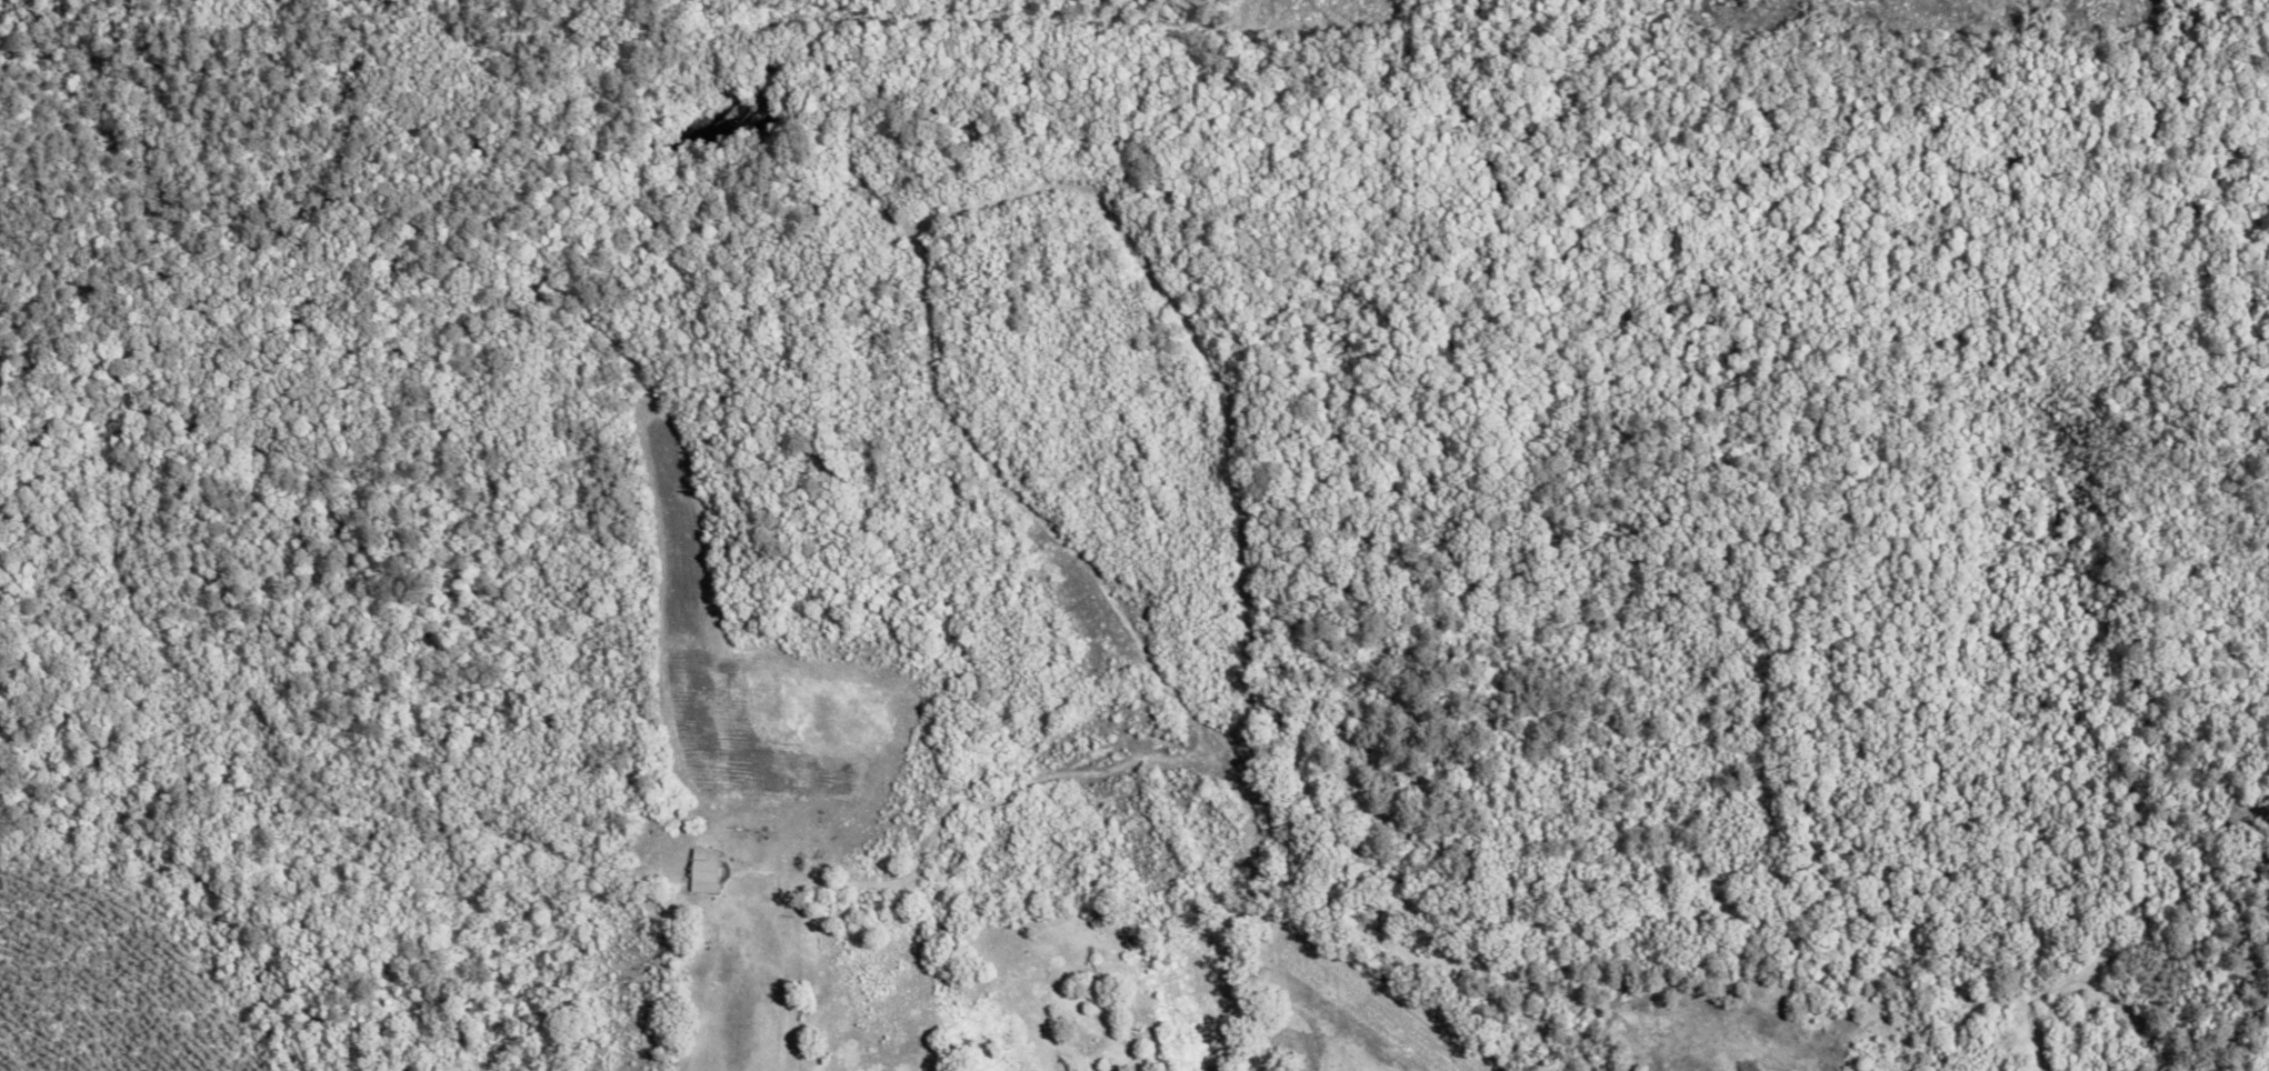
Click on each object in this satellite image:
building: (703, 870)
road: (777, 1004)

